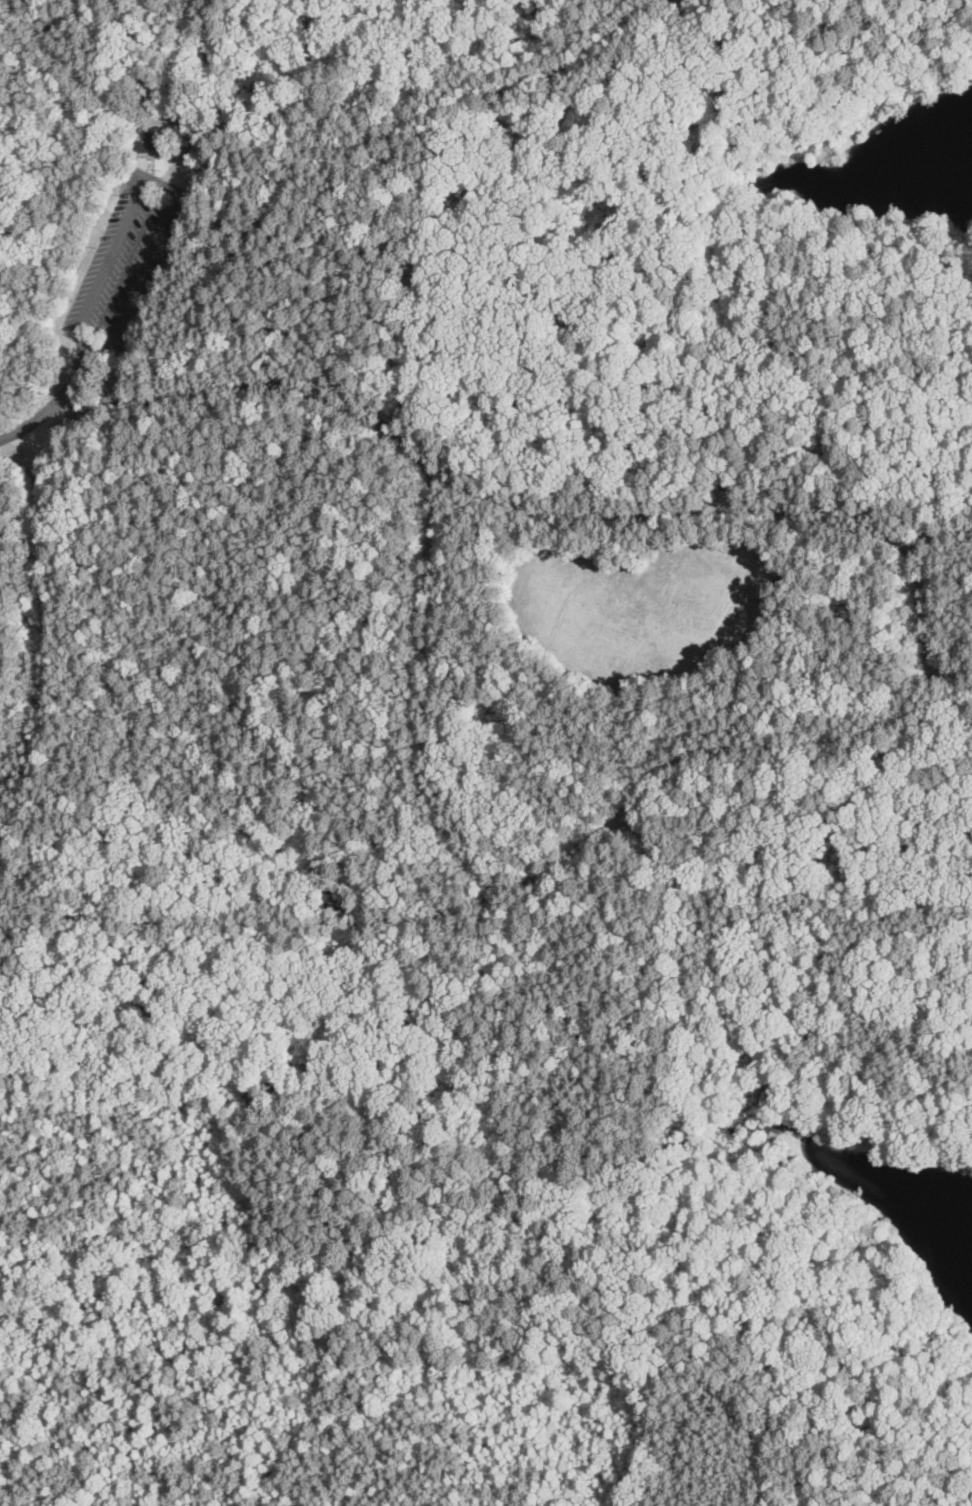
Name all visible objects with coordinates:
building: (687, 0)
road: (176, 94)
building: (154, 139)
road: (336, 140)
road: (161, 182)
parking lot: (131, 258)
road: (53, 406)
road: (500, 495)
road: (922, 615)
park: (509, 675)
building: (646, 831)
road: (528, 872)
road: (13, 906)
road: (403, 933)

